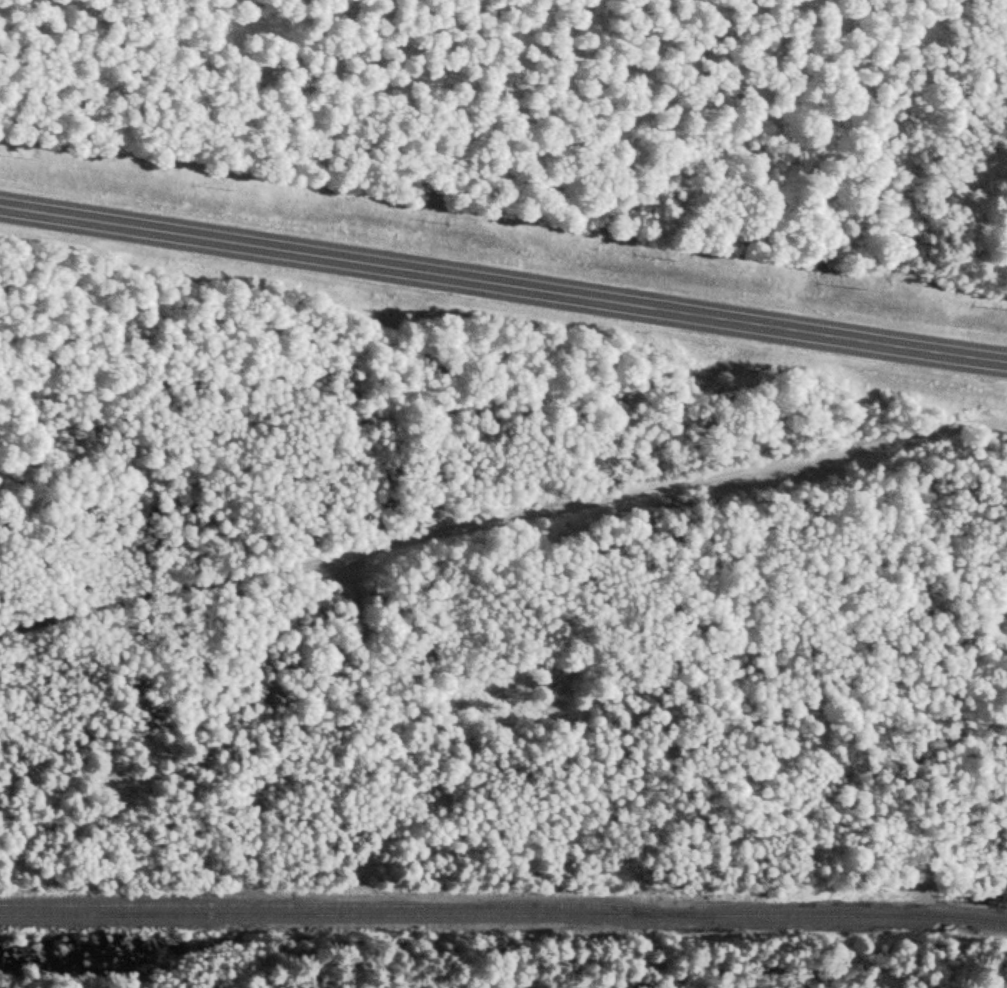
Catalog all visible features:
road: (503, 286)
road: (502, 520)
railway: (503, 912)

